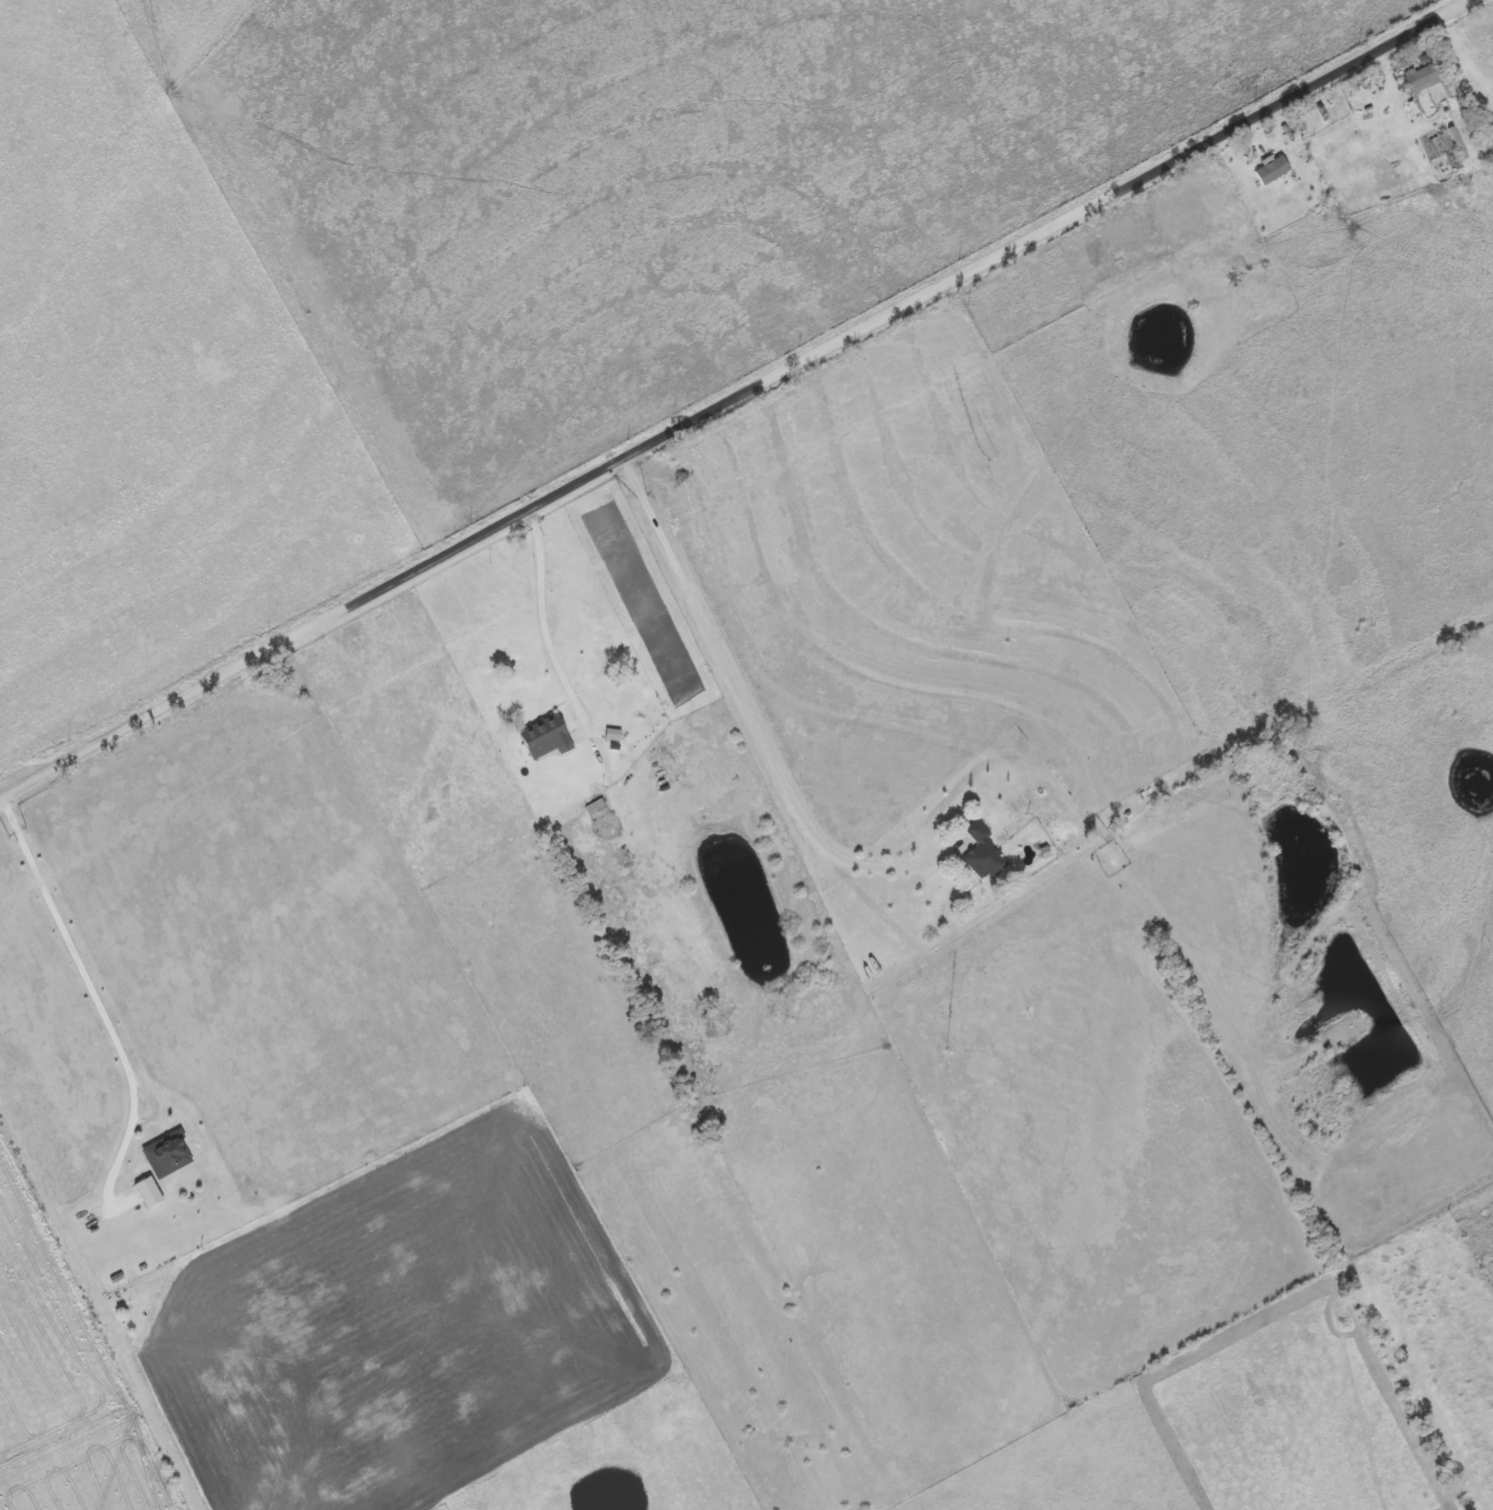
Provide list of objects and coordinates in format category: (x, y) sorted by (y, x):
building: (1424, 79)
building: (1275, 170)
road: (736, 397)
road: (748, 706)
building: (616, 735)
building: (549, 738)
building: (985, 853)
road: (68, 943)
building: (171, 1158)
building: (152, 1194)

